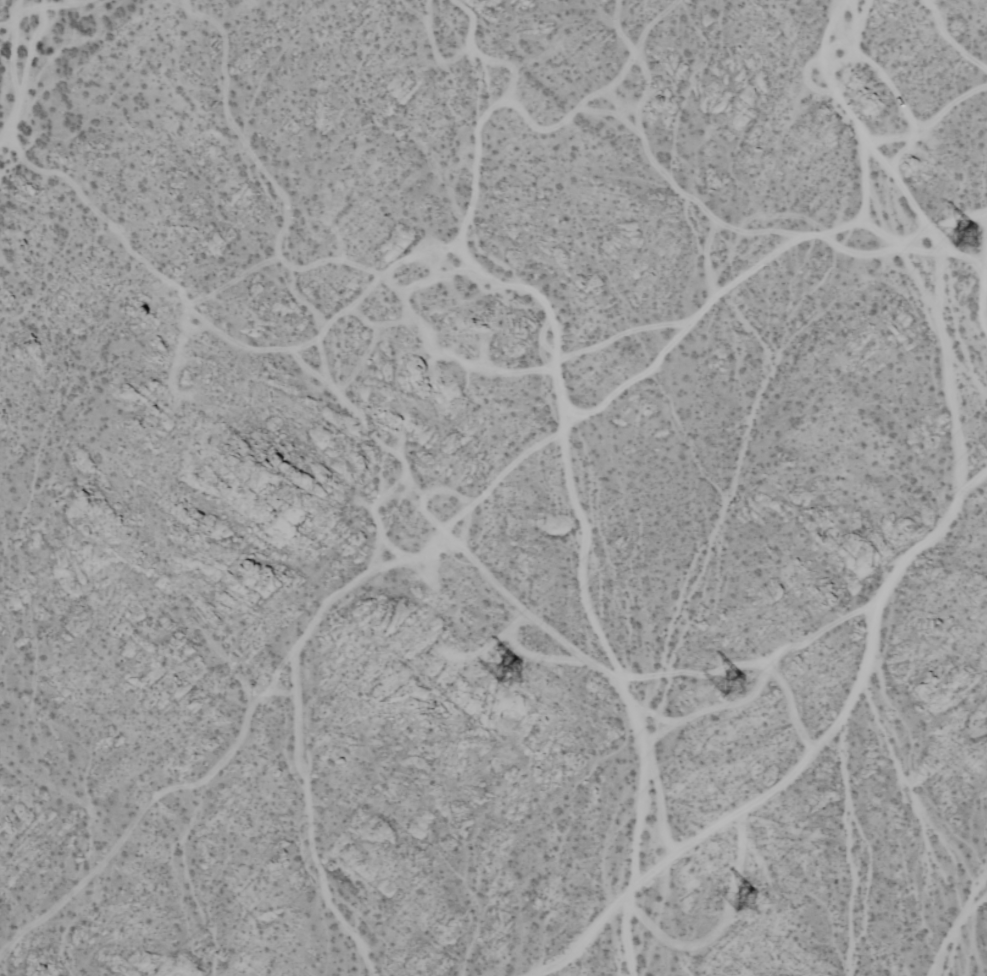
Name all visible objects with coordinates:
power tower: (970, 236)
power tower: (520, 665)
power tower: (746, 683)
road: (803, 757)
power tower: (777, 896)

